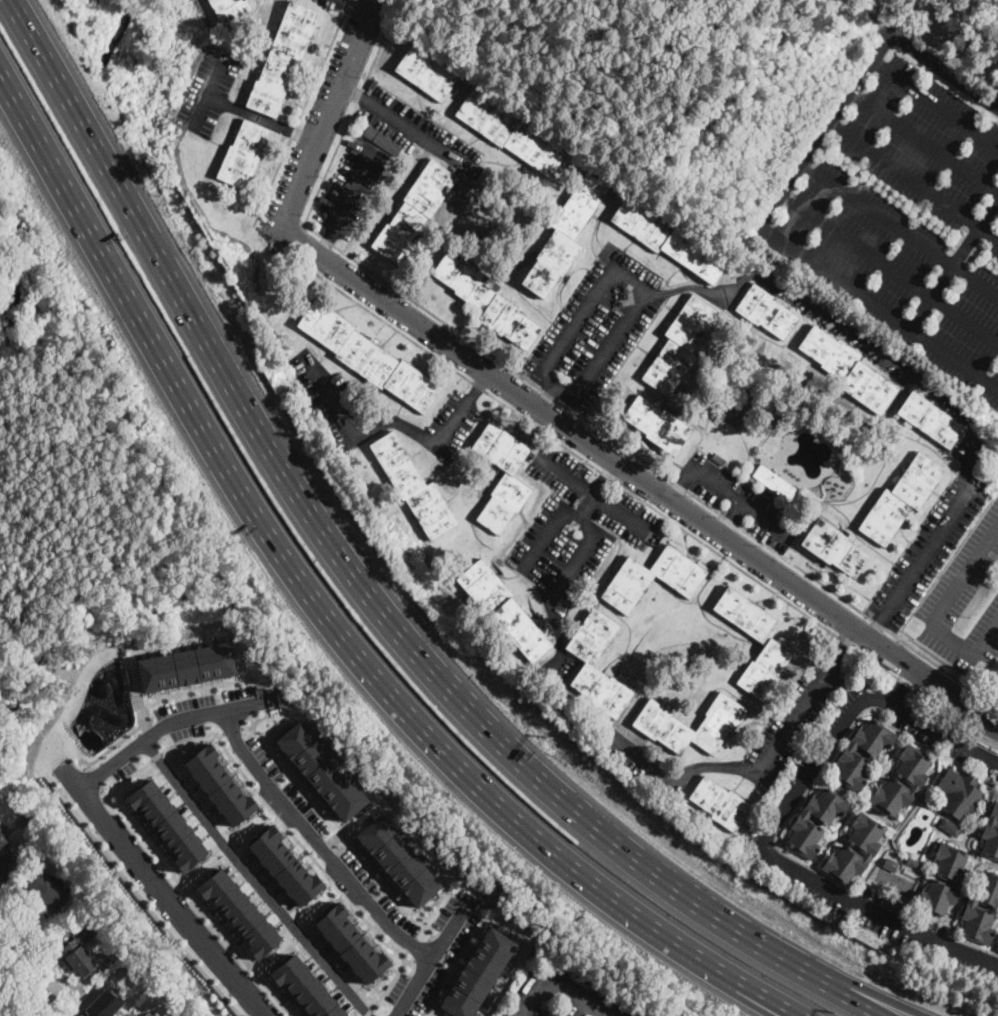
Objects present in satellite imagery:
road: (338, 1)
parking lot: (328, 3)
building: (229, 9)
road: (355, 9)
building: (282, 59)
building: (426, 72)
road: (350, 90)
parking lot: (209, 92)
road: (207, 99)
road: (301, 111)
road: (329, 113)
parking lot: (313, 119)
road: (262, 120)
parking lot: (413, 127)
road: (344, 128)
road: (412, 129)
building: (511, 133)
building: (382, 140)
building: (242, 154)
parking lot: (352, 189)
road: (348, 194)
building: (414, 211)
parking lot: (906, 227)
building: (565, 235)
building: (667, 238)
road: (298, 240)
road: (324, 248)
road: (119, 283)
road: (648, 289)
building: (486, 300)
building: (765, 311)
parking lot: (596, 327)
building: (679, 345)
parking lot: (865, 346)
building: (367, 357)
building: (848, 369)
road: (916, 376)
road: (482, 381)
road: (547, 396)
road: (331, 397)
parking lot: (330, 399)
road: (456, 419)
building: (930, 420)
parking lot: (452, 422)
road: (398, 423)
building: (657, 425)
building: (718, 459)
road: (649, 464)
road: (639, 478)
building: (509, 483)
building: (774, 483)
road: (681, 484)
building: (413, 487)
road: (595, 489)
road: (593, 495)
building: (900, 498)
parking lot: (742, 499)
road: (741, 500)
road: (643, 501)
road: (730, 516)
road: (581, 518)
parking lot: (575, 536)
parking lot: (933, 537)
building: (834, 548)
road: (532, 554)
road: (362, 585)
building: (627, 585)
road: (554, 594)
parking lot: (965, 605)
building: (503, 609)
road: (938, 613)
road: (875, 632)
building: (767, 641)
road: (842, 642)
building: (588, 664)
building: (187, 666)
road: (901, 685)
road: (158, 700)
road: (985, 700)
road: (265, 701)
parking lot: (205, 710)
building: (656, 720)
road: (932, 726)
road: (160, 727)
road: (248, 727)
road: (232, 729)
road: (221, 733)
parking lot: (781, 736)
parking lot: (944, 738)
building: (862, 752)
road: (157, 755)
road: (743, 768)
building: (322, 770)
parking lot: (801, 775)
road: (91, 778)
building: (914, 780)
building: (220, 785)
road: (482, 791)
building: (958, 794)
building: (719, 803)
building: (815, 820)
road: (328, 821)
building: (167, 822)
building: (949, 827)
building: (991, 834)
road: (315, 840)
building: (50, 841)
parking lot: (327, 846)
building: (867, 849)
road: (306, 851)
building: (913, 853)
building: (5, 856)
building: (397, 859)
building: (912, 863)
building: (285, 865)
building: (890, 865)
road: (798, 871)
building: (956, 879)
road: (254, 880)
road: (156, 886)
building: (46, 889)
road: (139, 897)
road: (12, 901)
road: (195, 902)
building: (893, 904)
building: (980, 909)
building: (239, 910)
building: (843, 922)
road: (478, 925)
building: (852, 927)
building: (883, 931)
building: (350, 943)
road: (421, 950)
building: (78, 952)
parking lot: (432, 960)
road: (427, 962)
building: (478, 973)
road: (29, 976)
road: (388, 986)
building: (305, 988)
road: (556, 988)
road: (862, 992)
road: (91, 994)
parking lot: (561, 996)
building: (104, 1003)
building: (550, 1014)
building: (555, 1014)

